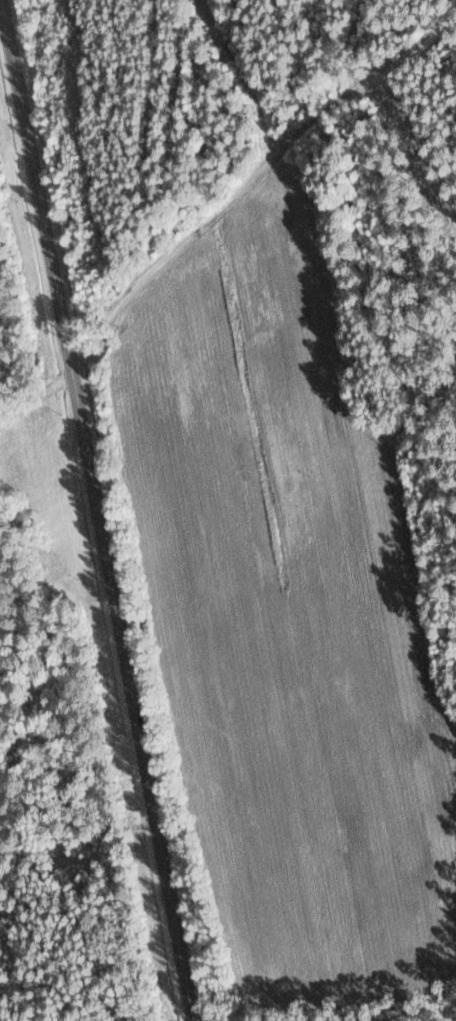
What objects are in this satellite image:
road: (100, 509)

